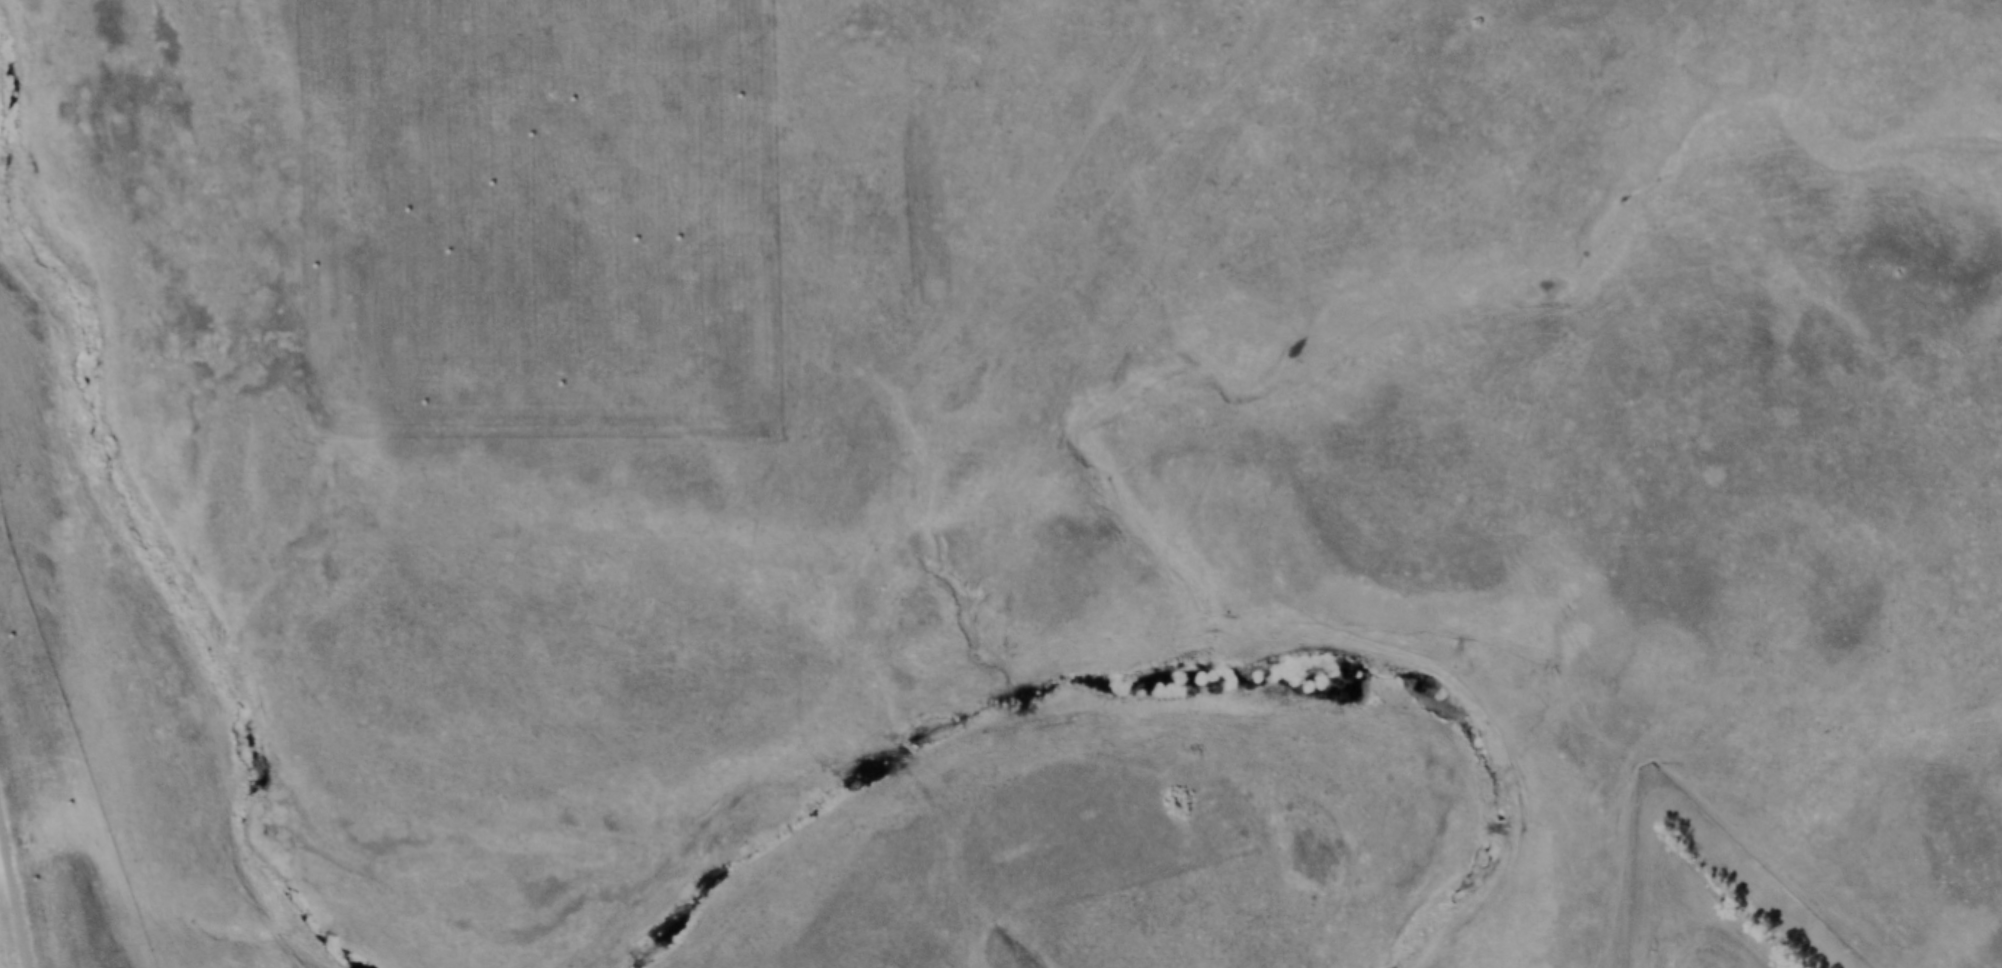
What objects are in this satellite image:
road: (1104, 220)
road: (1000, 262)
road: (15, 889)

